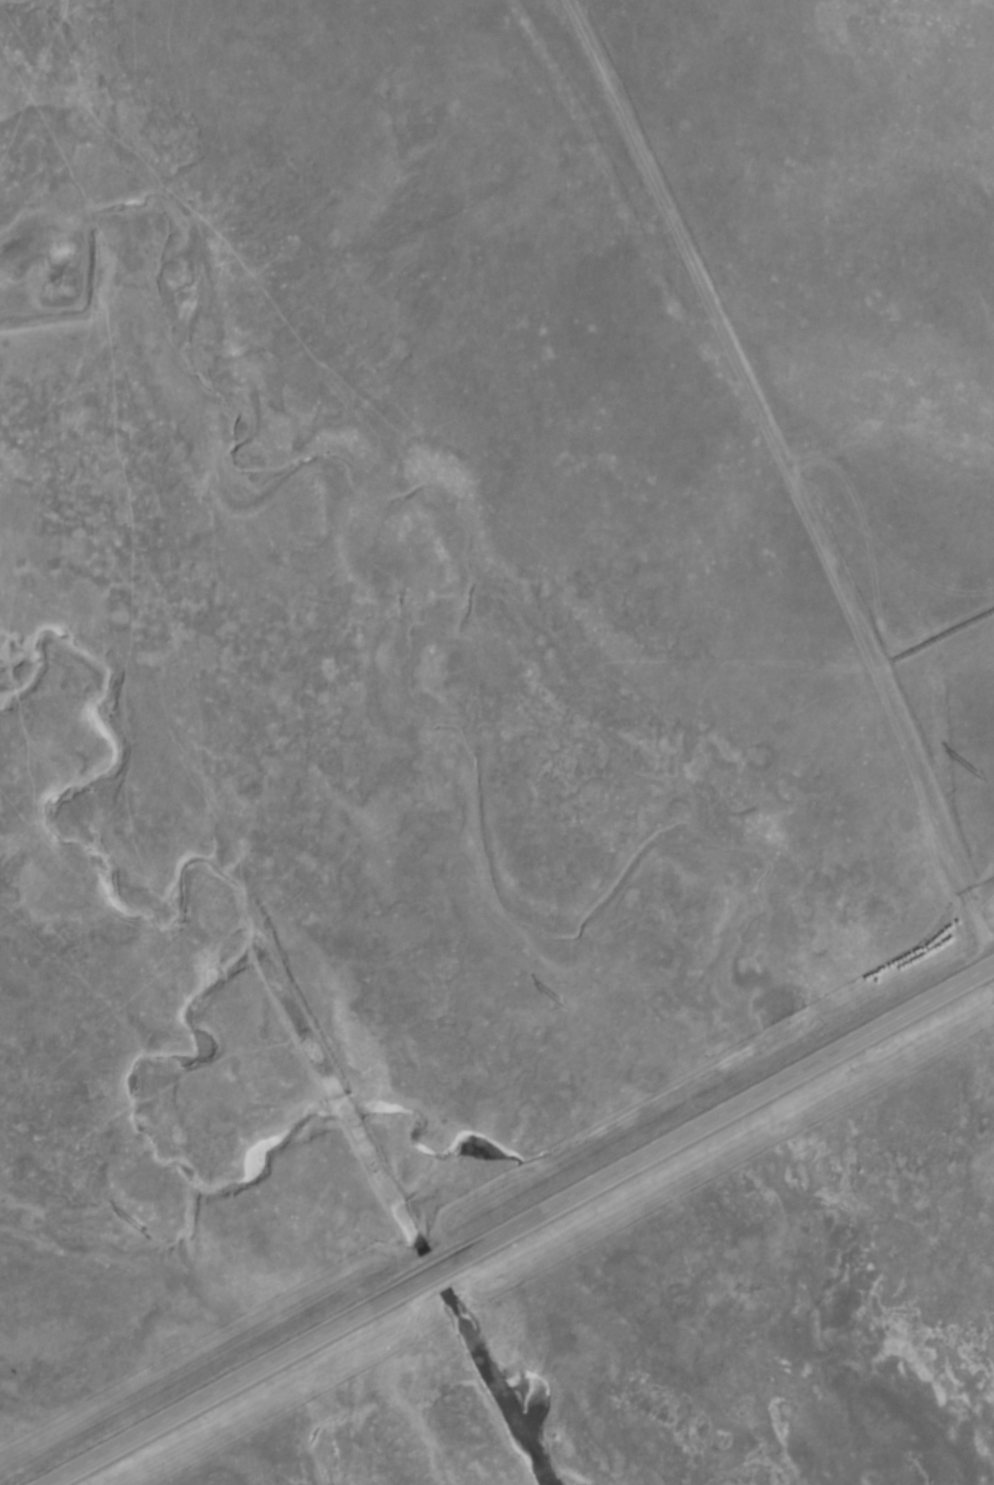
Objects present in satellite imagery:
road: (729, 490)
power tower: (978, 775)
power tower: (562, 1004)
road: (523, 1226)
power tower: (144, 1235)

